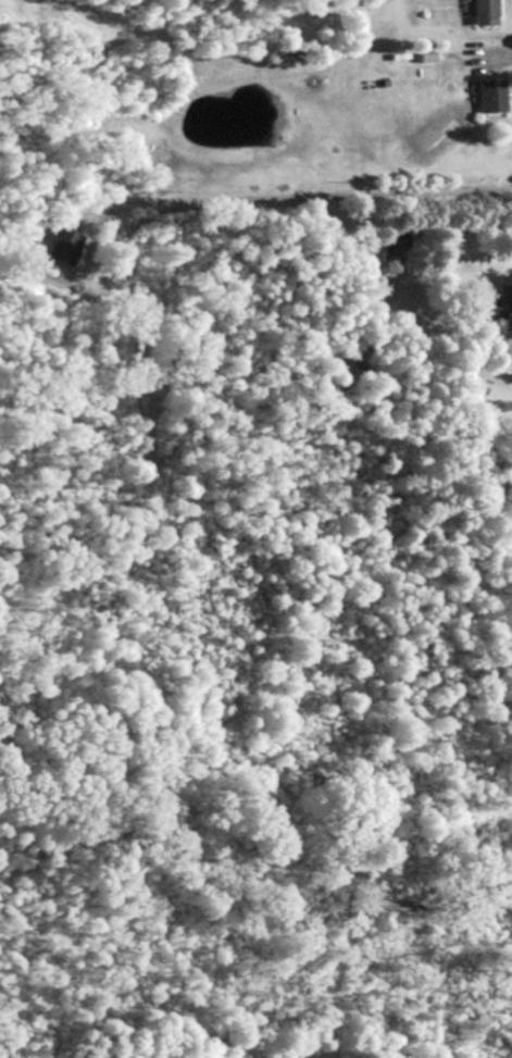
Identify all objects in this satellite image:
building: (480, 12)
road: (495, 58)
building: (488, 96)
building: (61, 245)
building: (503, 296)

